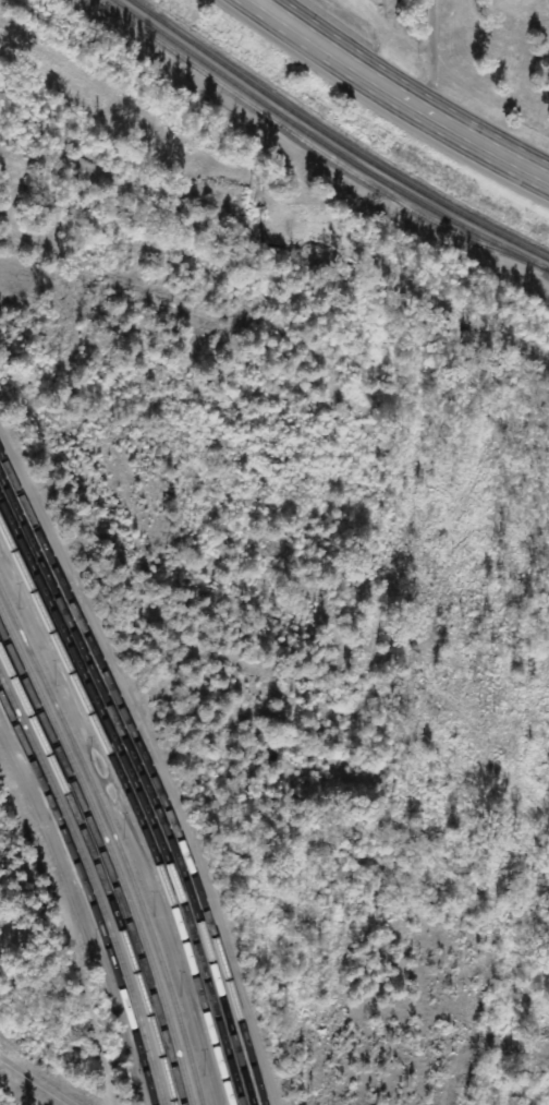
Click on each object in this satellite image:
road: (406, 92)
railway: (334, 139)
railway: (324, 145)
railway: (149, 776)
railway: (144, 785)
railway: (139, 795)
railway: (134, 807)
railway: (115, 842)
railway: (110, 852)
railway: (105, 863)
railway: (97, 873)
railway: (93, 885)
railway: (88, 896)

